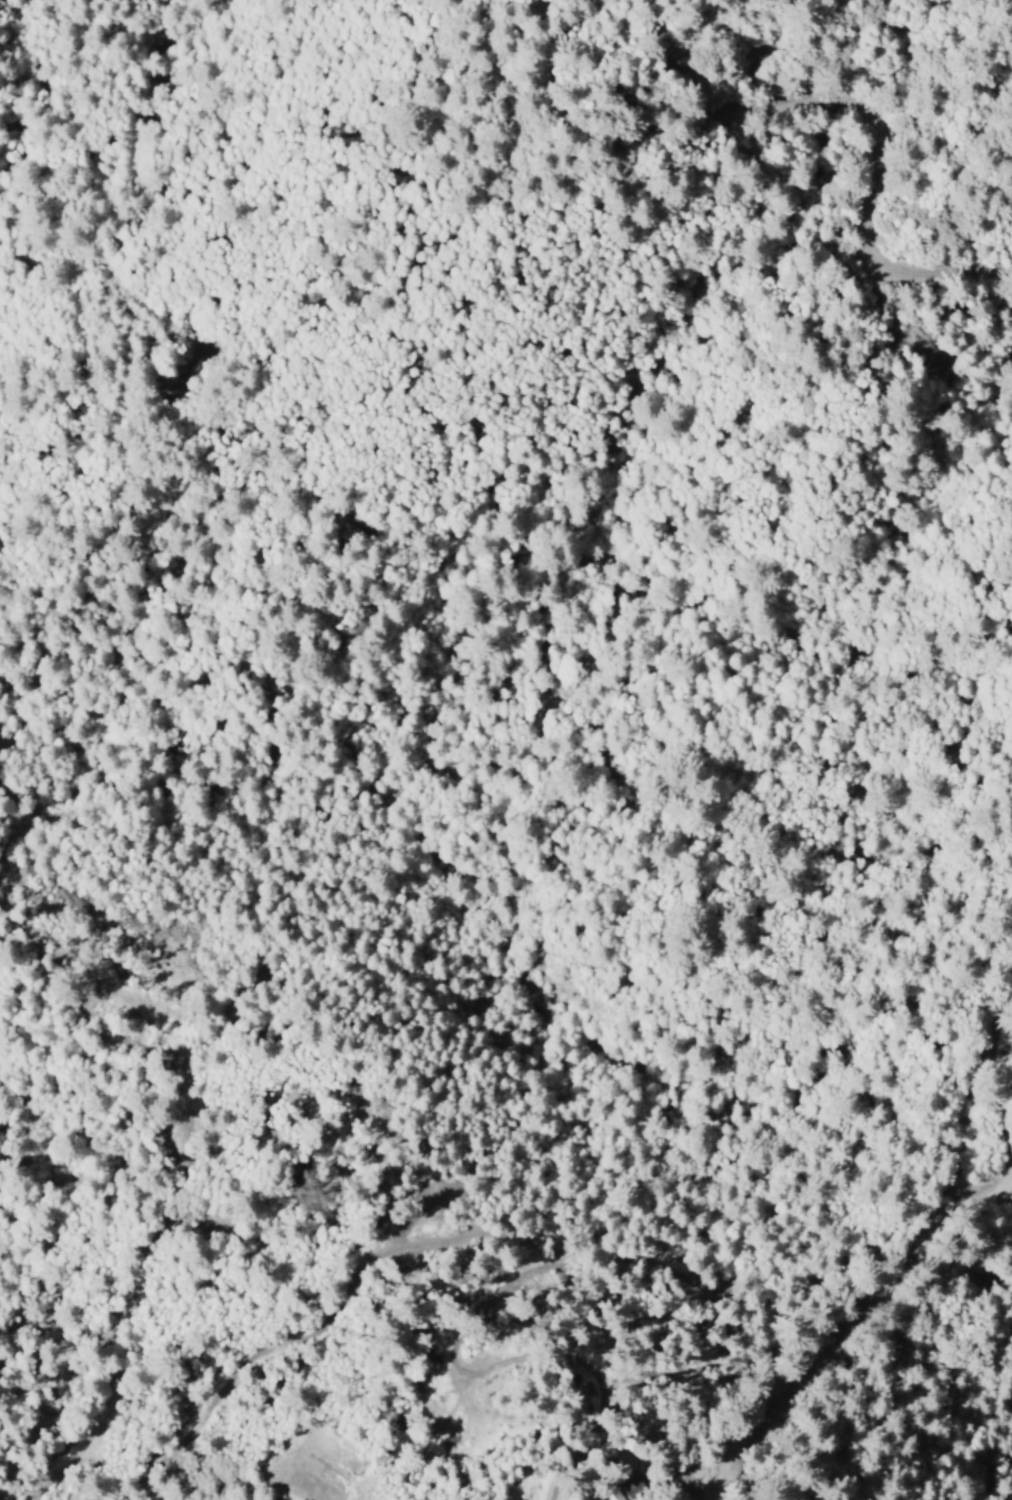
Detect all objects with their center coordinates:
road: (803, 105)
road: (989, 1190)
road: (904, 1256)
building: (615, 1497)

